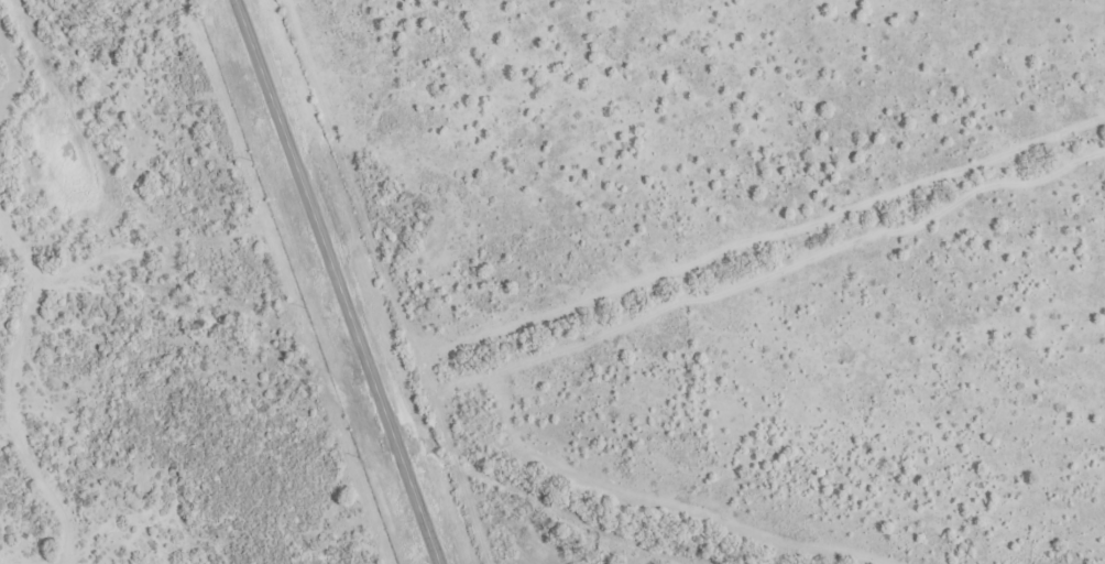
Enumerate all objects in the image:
road: (342, 281)

